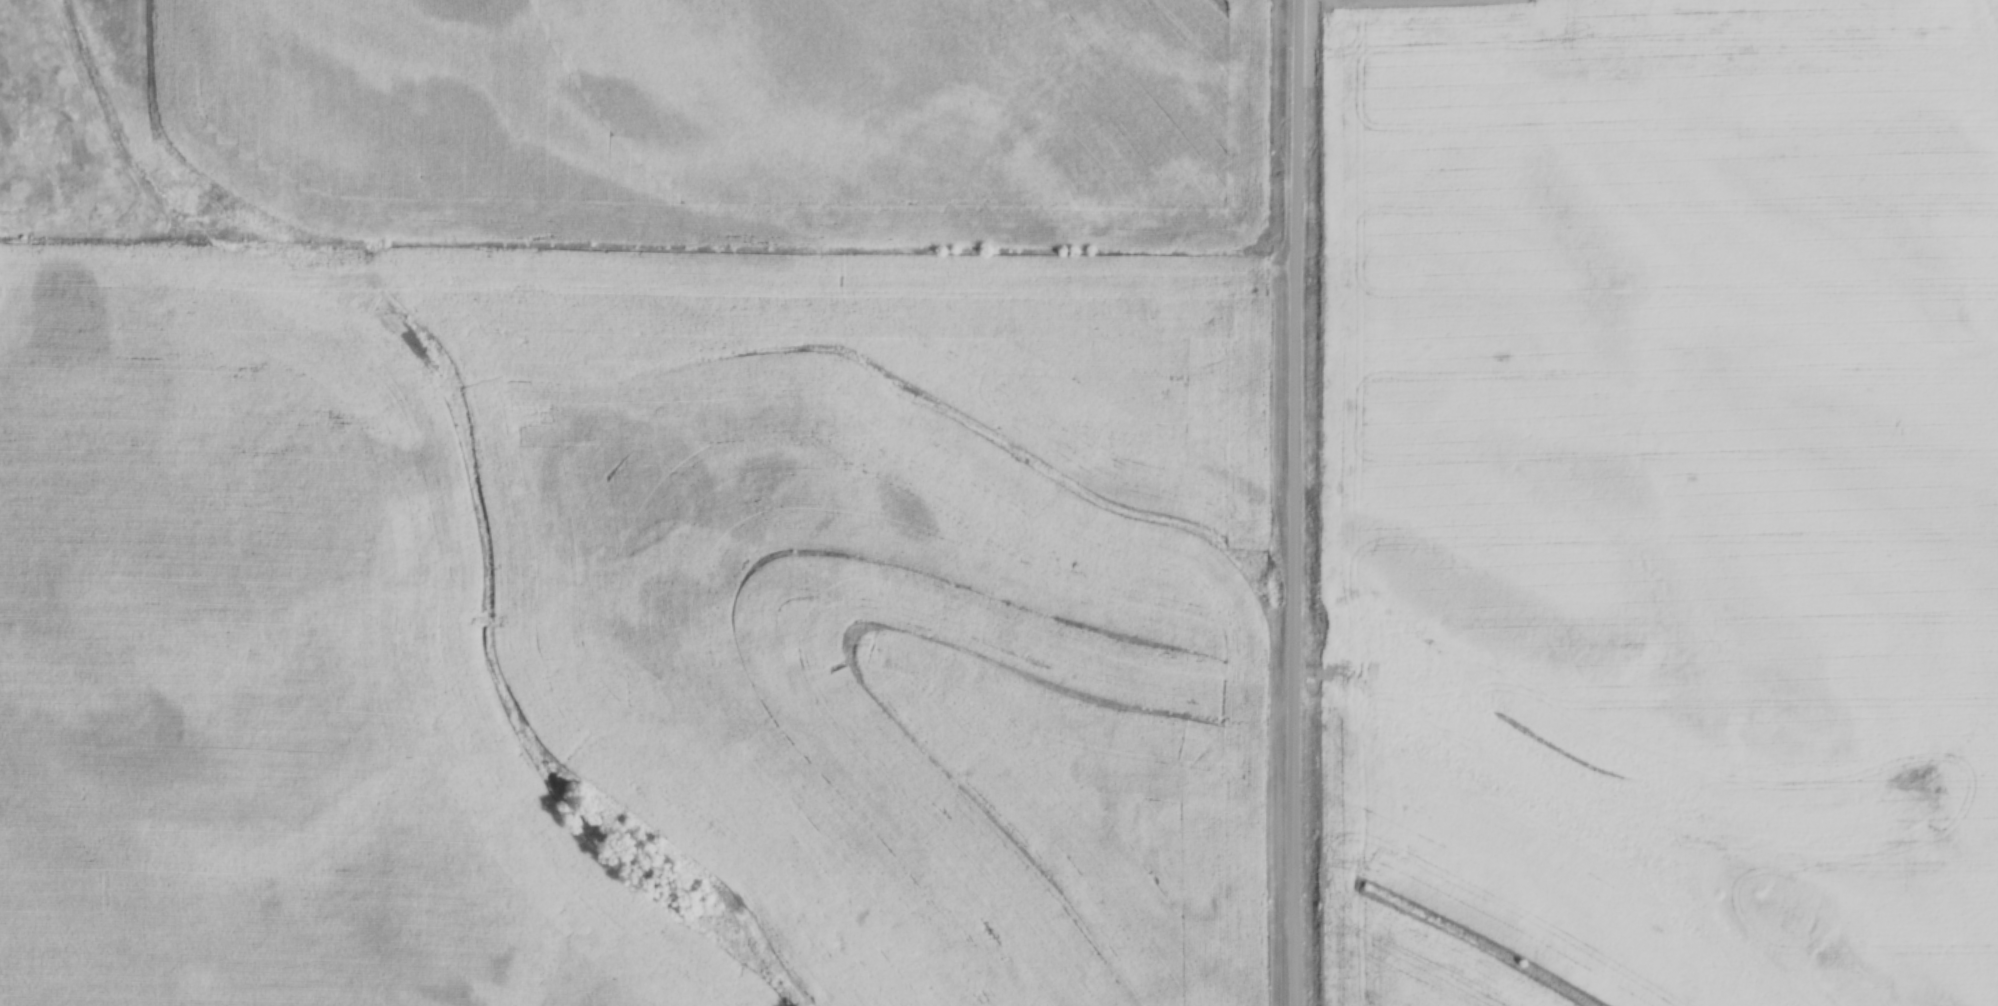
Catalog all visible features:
road: (1299, 503)

